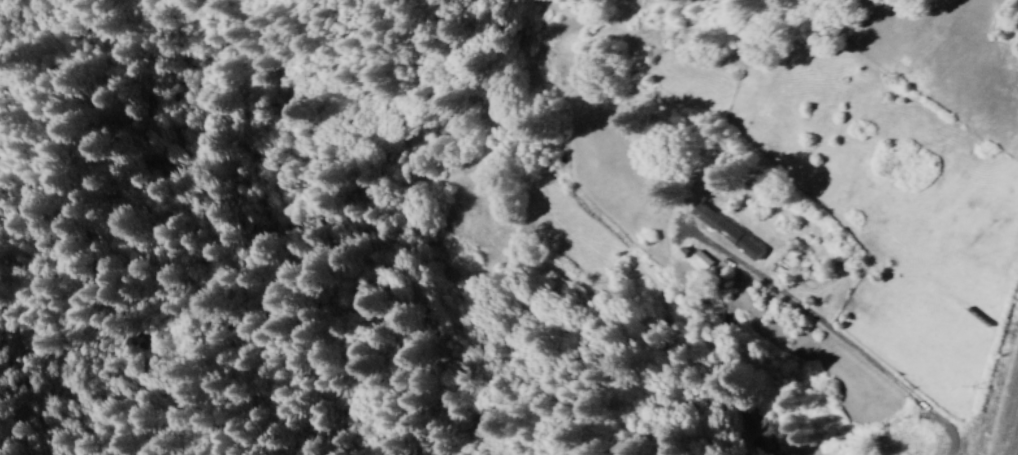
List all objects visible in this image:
building: (1017, 26)
building: (725, 231)
building: (701, 260)
road: (818, 315)
road: (904, 421)

